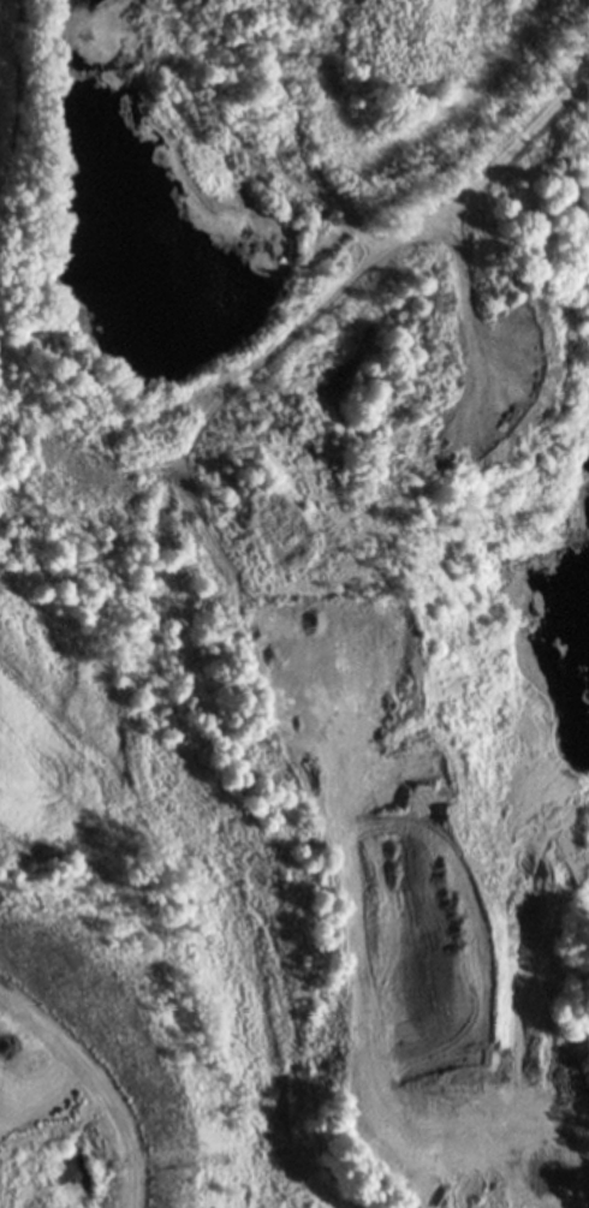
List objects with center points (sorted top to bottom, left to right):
quarry: (294, 307)

